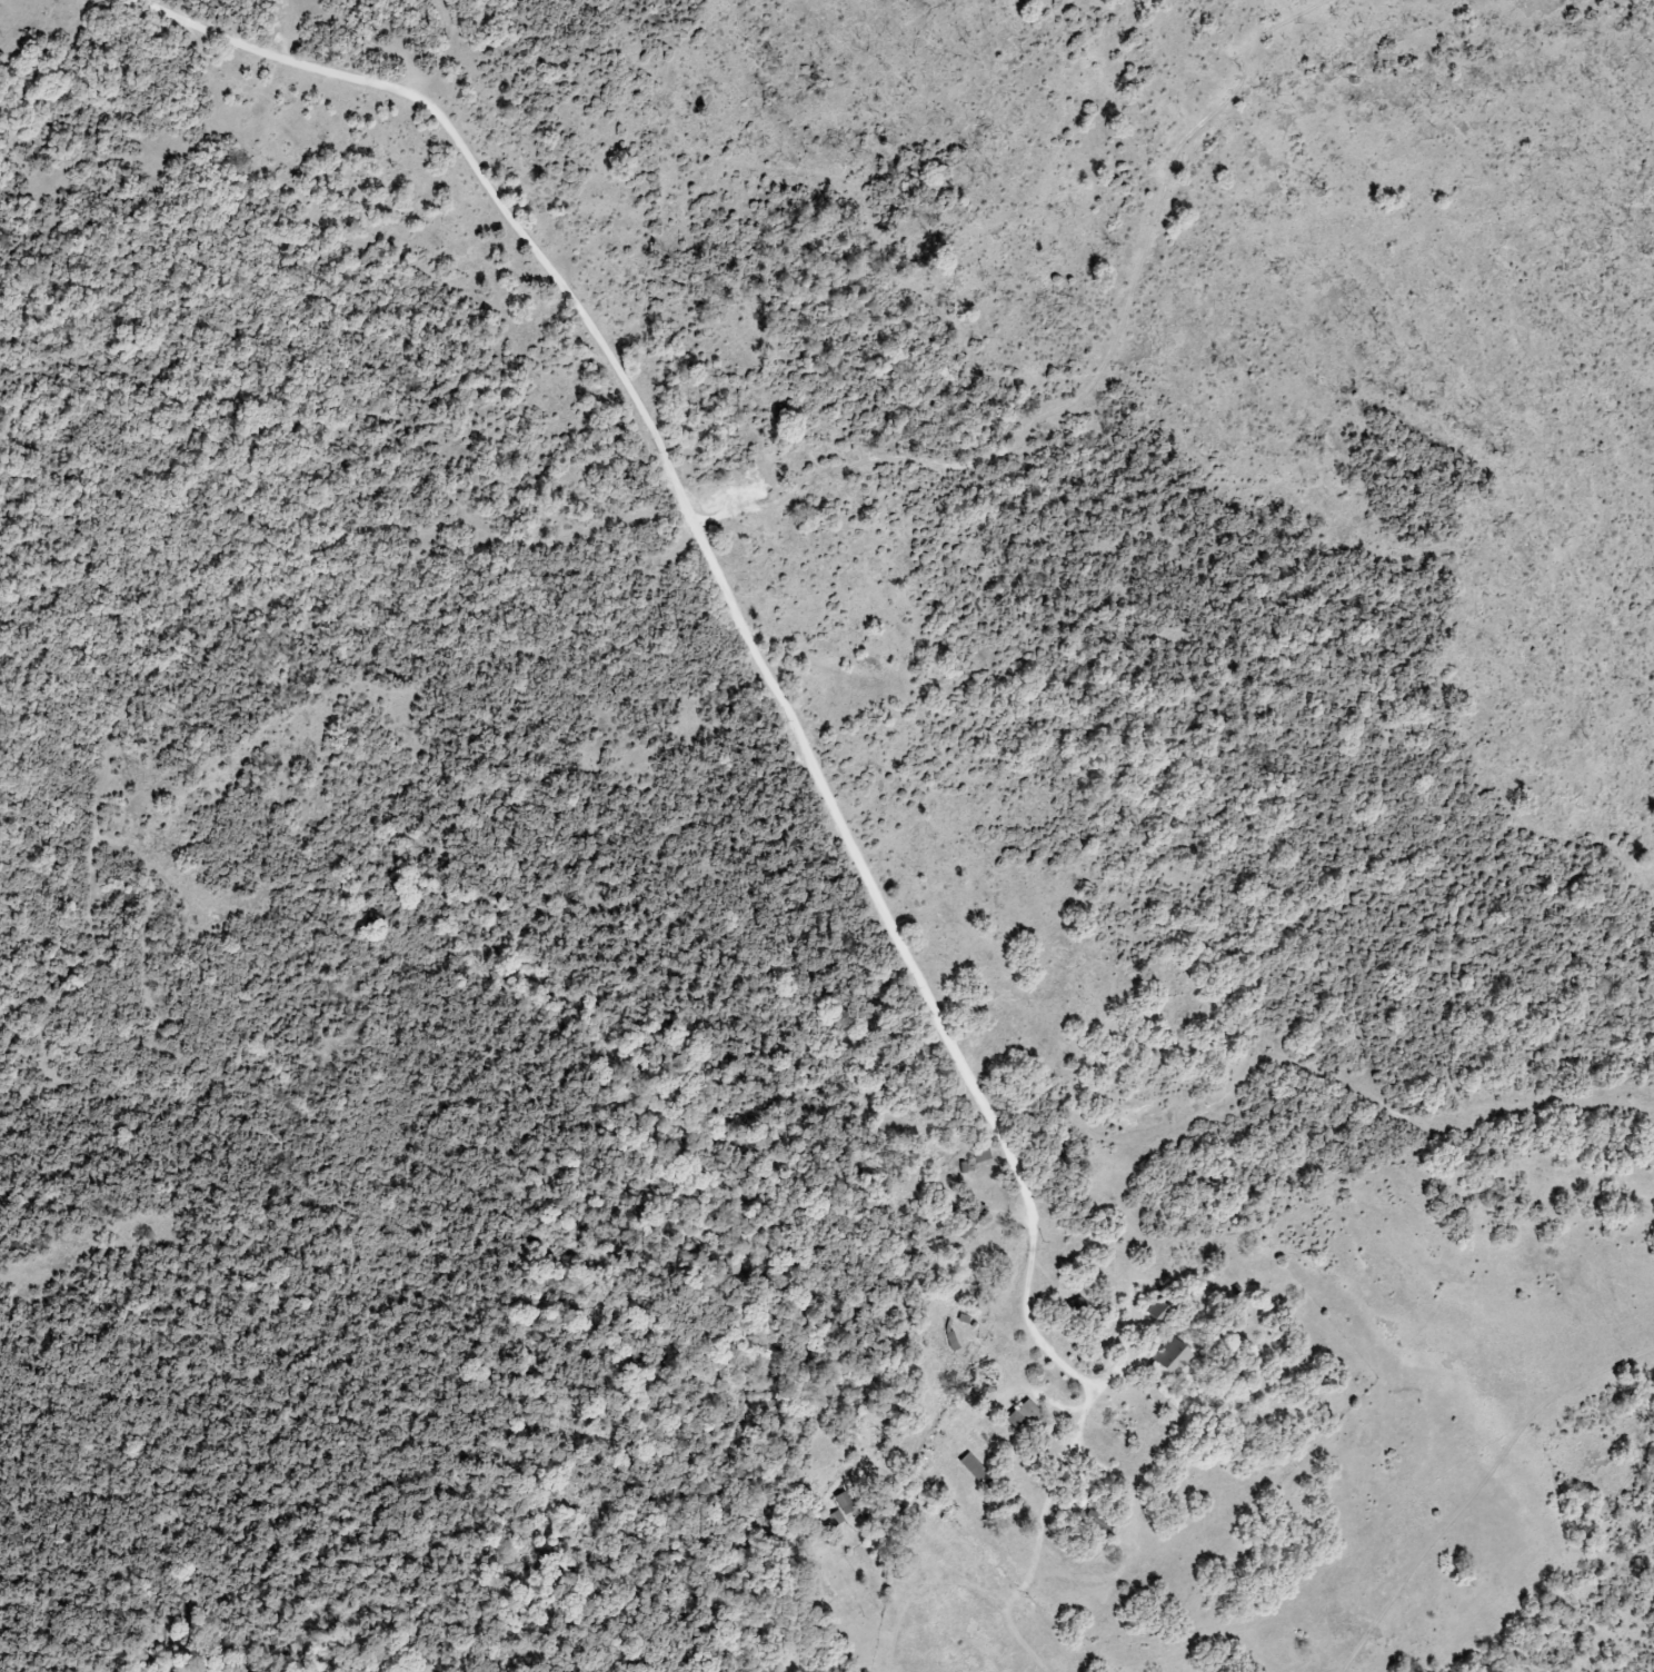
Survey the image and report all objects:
building: (1169, 1358)
building: (1024, 1416)
building: (844, 1503)

